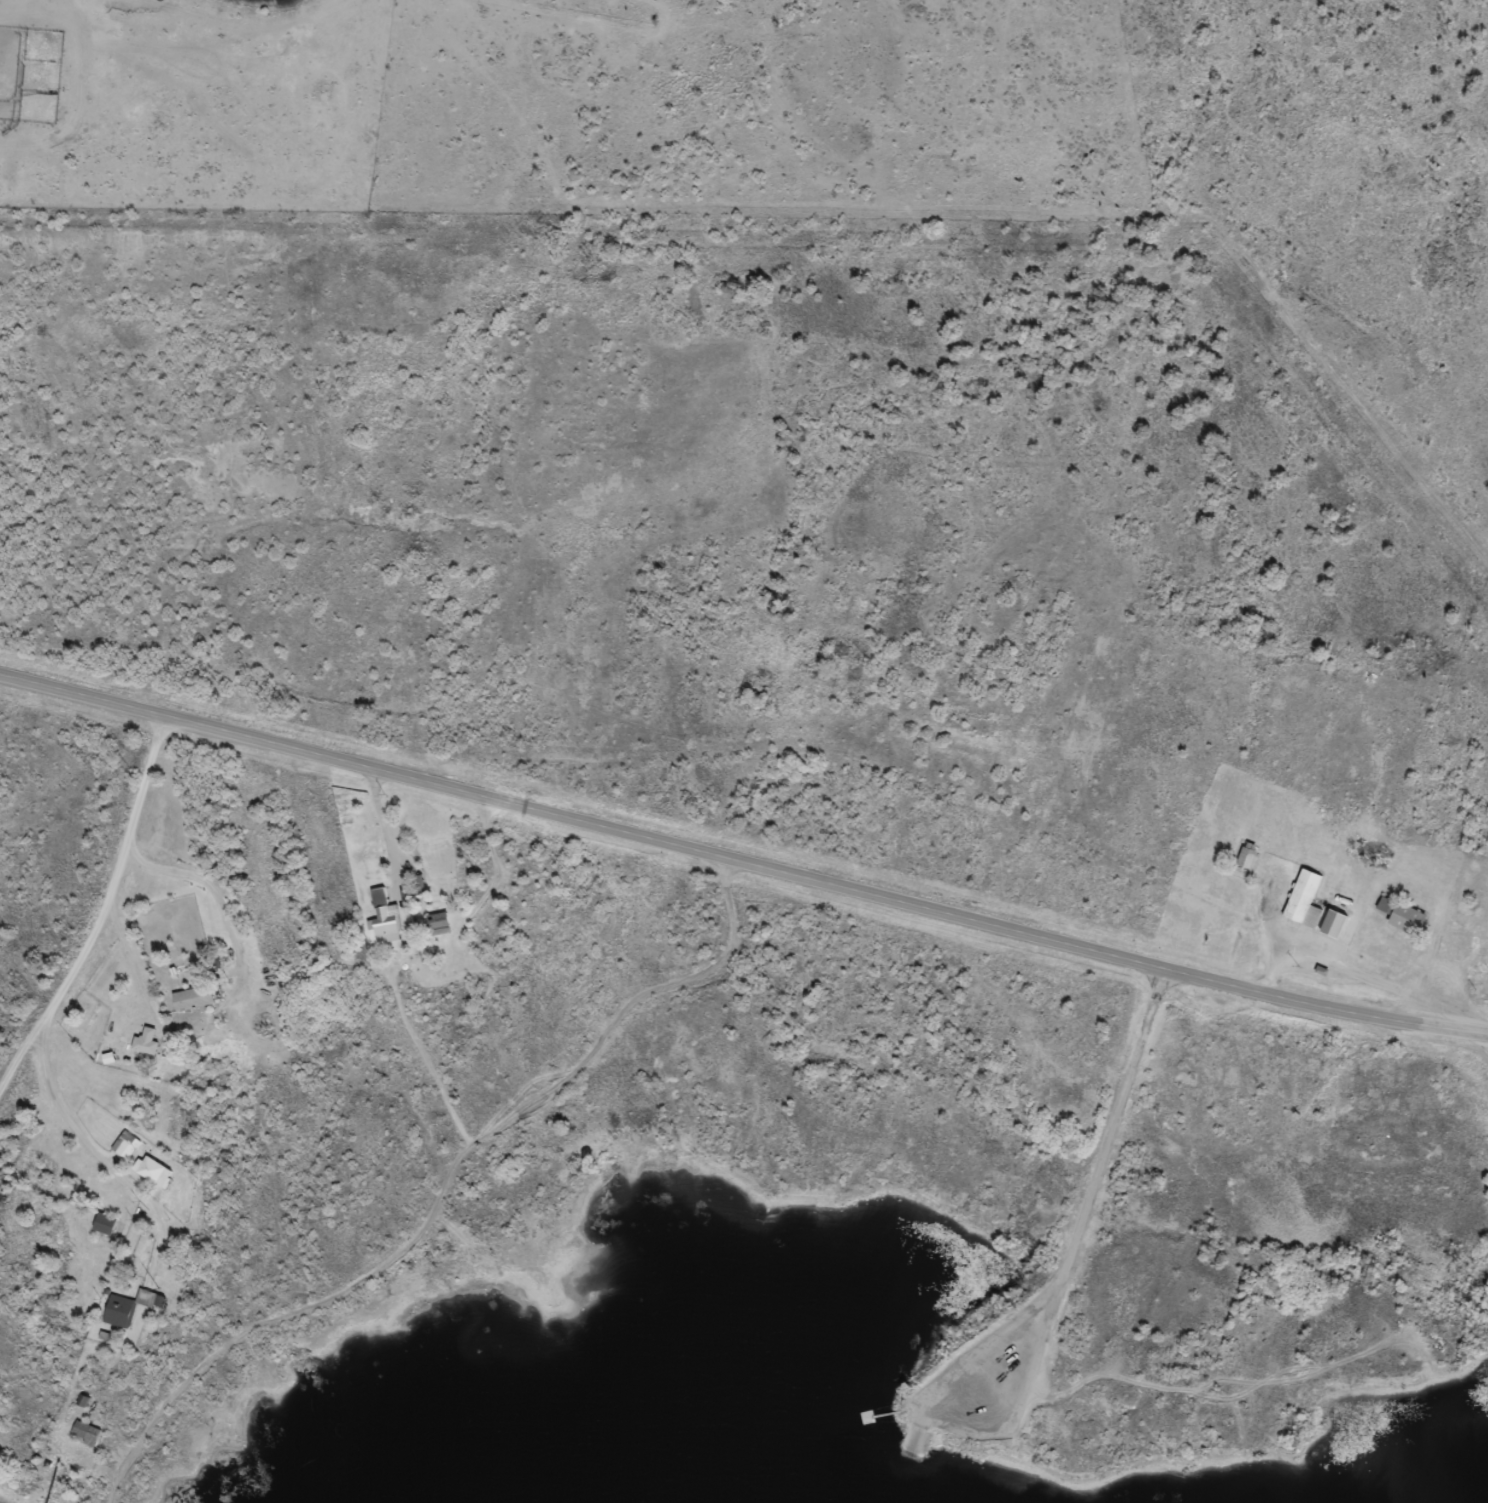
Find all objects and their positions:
road: (222, 27)
road: (820, 255)
road: (933, 790)
building: (1243, 856)
road: (742, 861)
building: (413, 884)
building: (1301, 898)
road: (103, 914)
building: (1399, 914)
building: (381, 918)
building: (434, 922)
building: (190, 997)
building: (256, 1013)
building: (141, 1040)
road: (1130, 1122)
road: (72, 1124)
building: (124, 1143)
building: (149, 1170)
building: (19, 1200)
building: (104, 1228)
building: (126, 1305)
building: (82, 1432)

